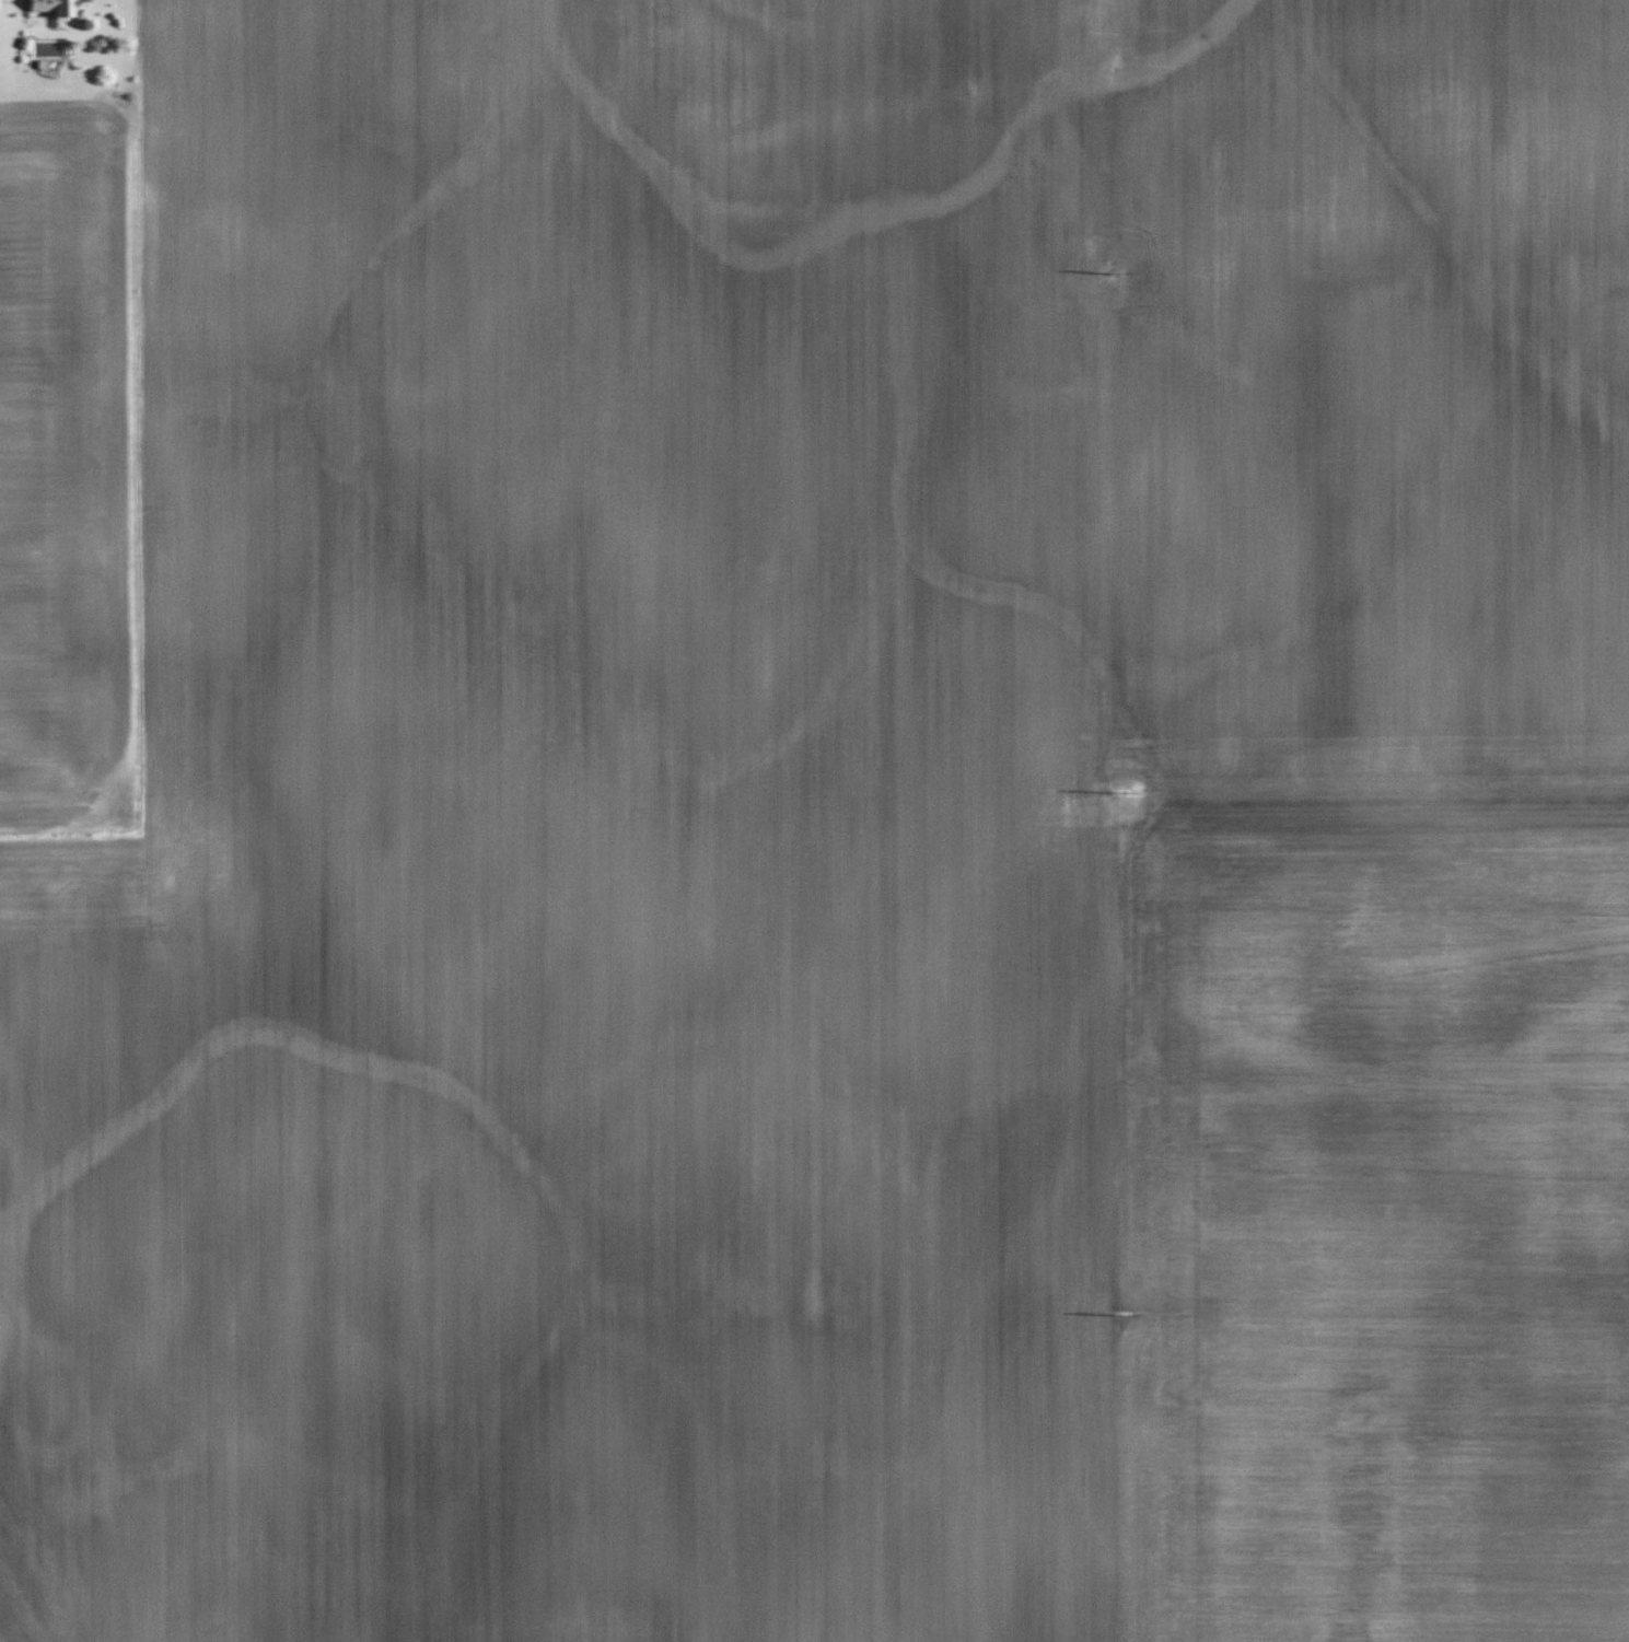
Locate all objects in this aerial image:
building: (56, 7)

